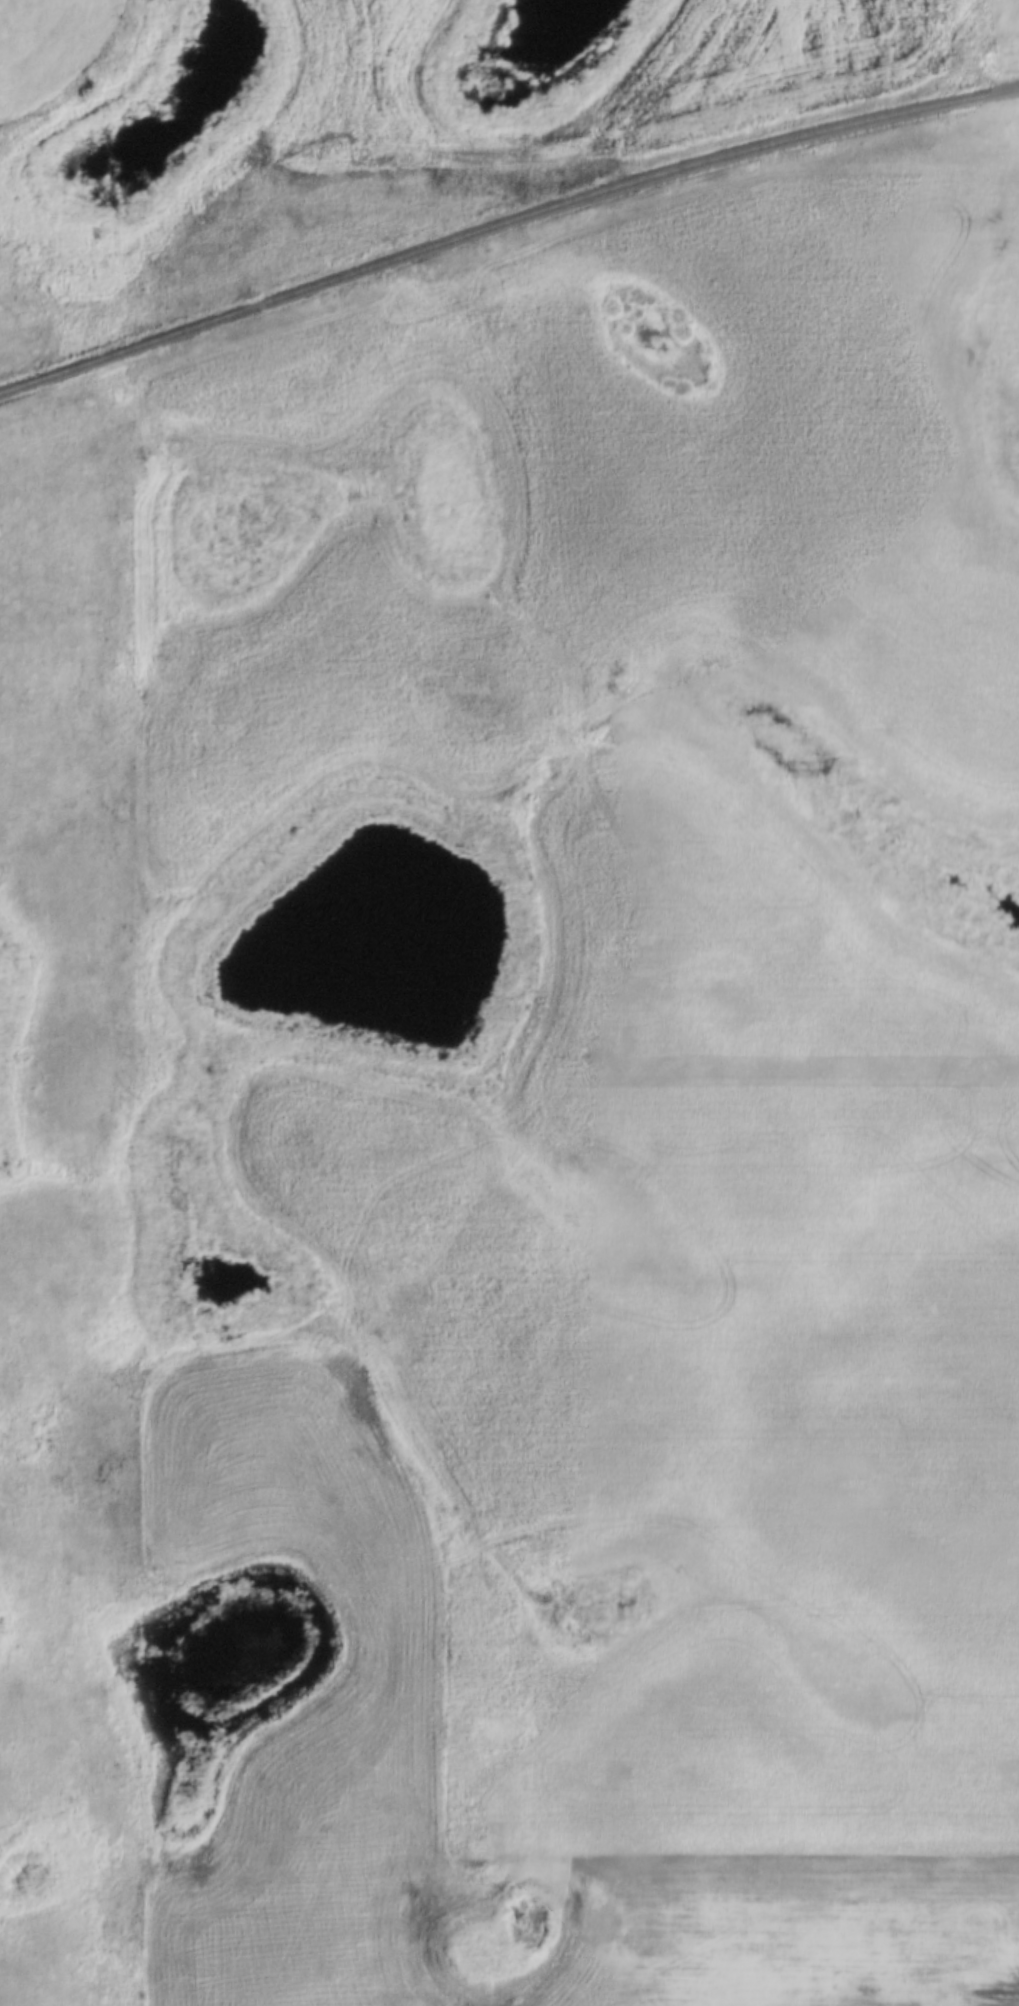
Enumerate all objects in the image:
railway: (504, 223)
road: (113, 1218)

